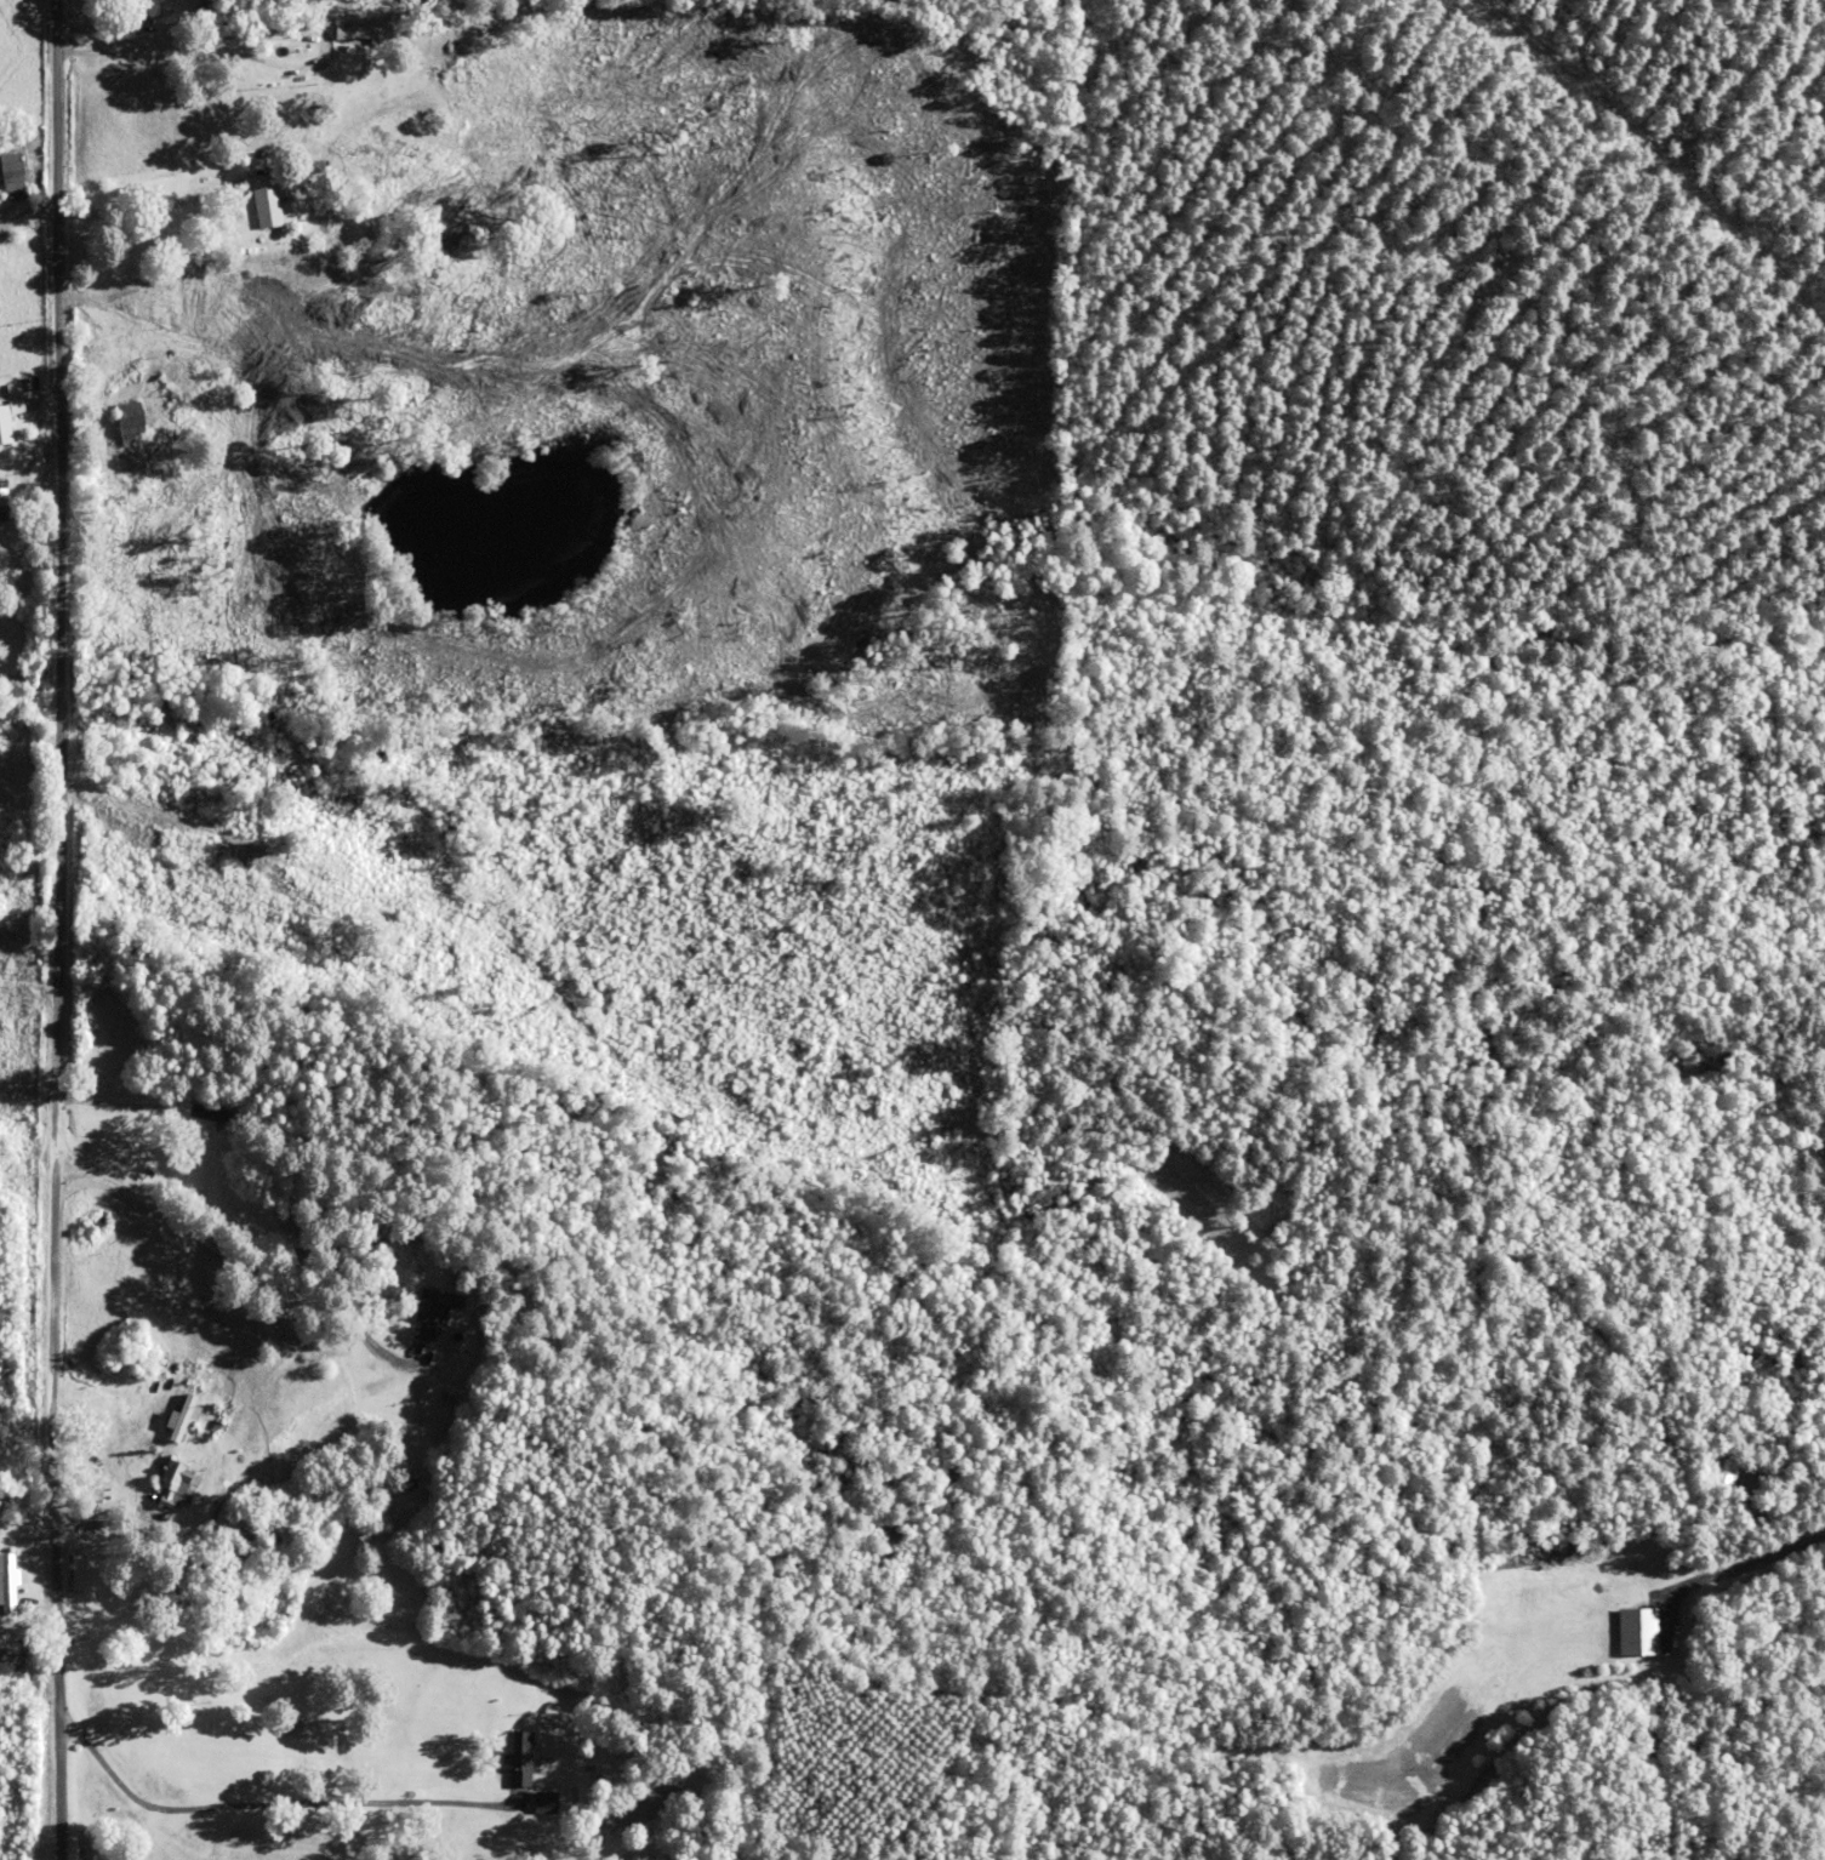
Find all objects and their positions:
building: (144, 8)
building: (366, 32)
building: (13, 176)
building: (268, 205)
building: (7, 420)
building: (132, 422)
building: (2, 496)
road: (44, 930)
building: (434, 1314)
building: (173, 1483)
building: (7, 1581)
building: (515, 1757)
building: (543, 1802)

